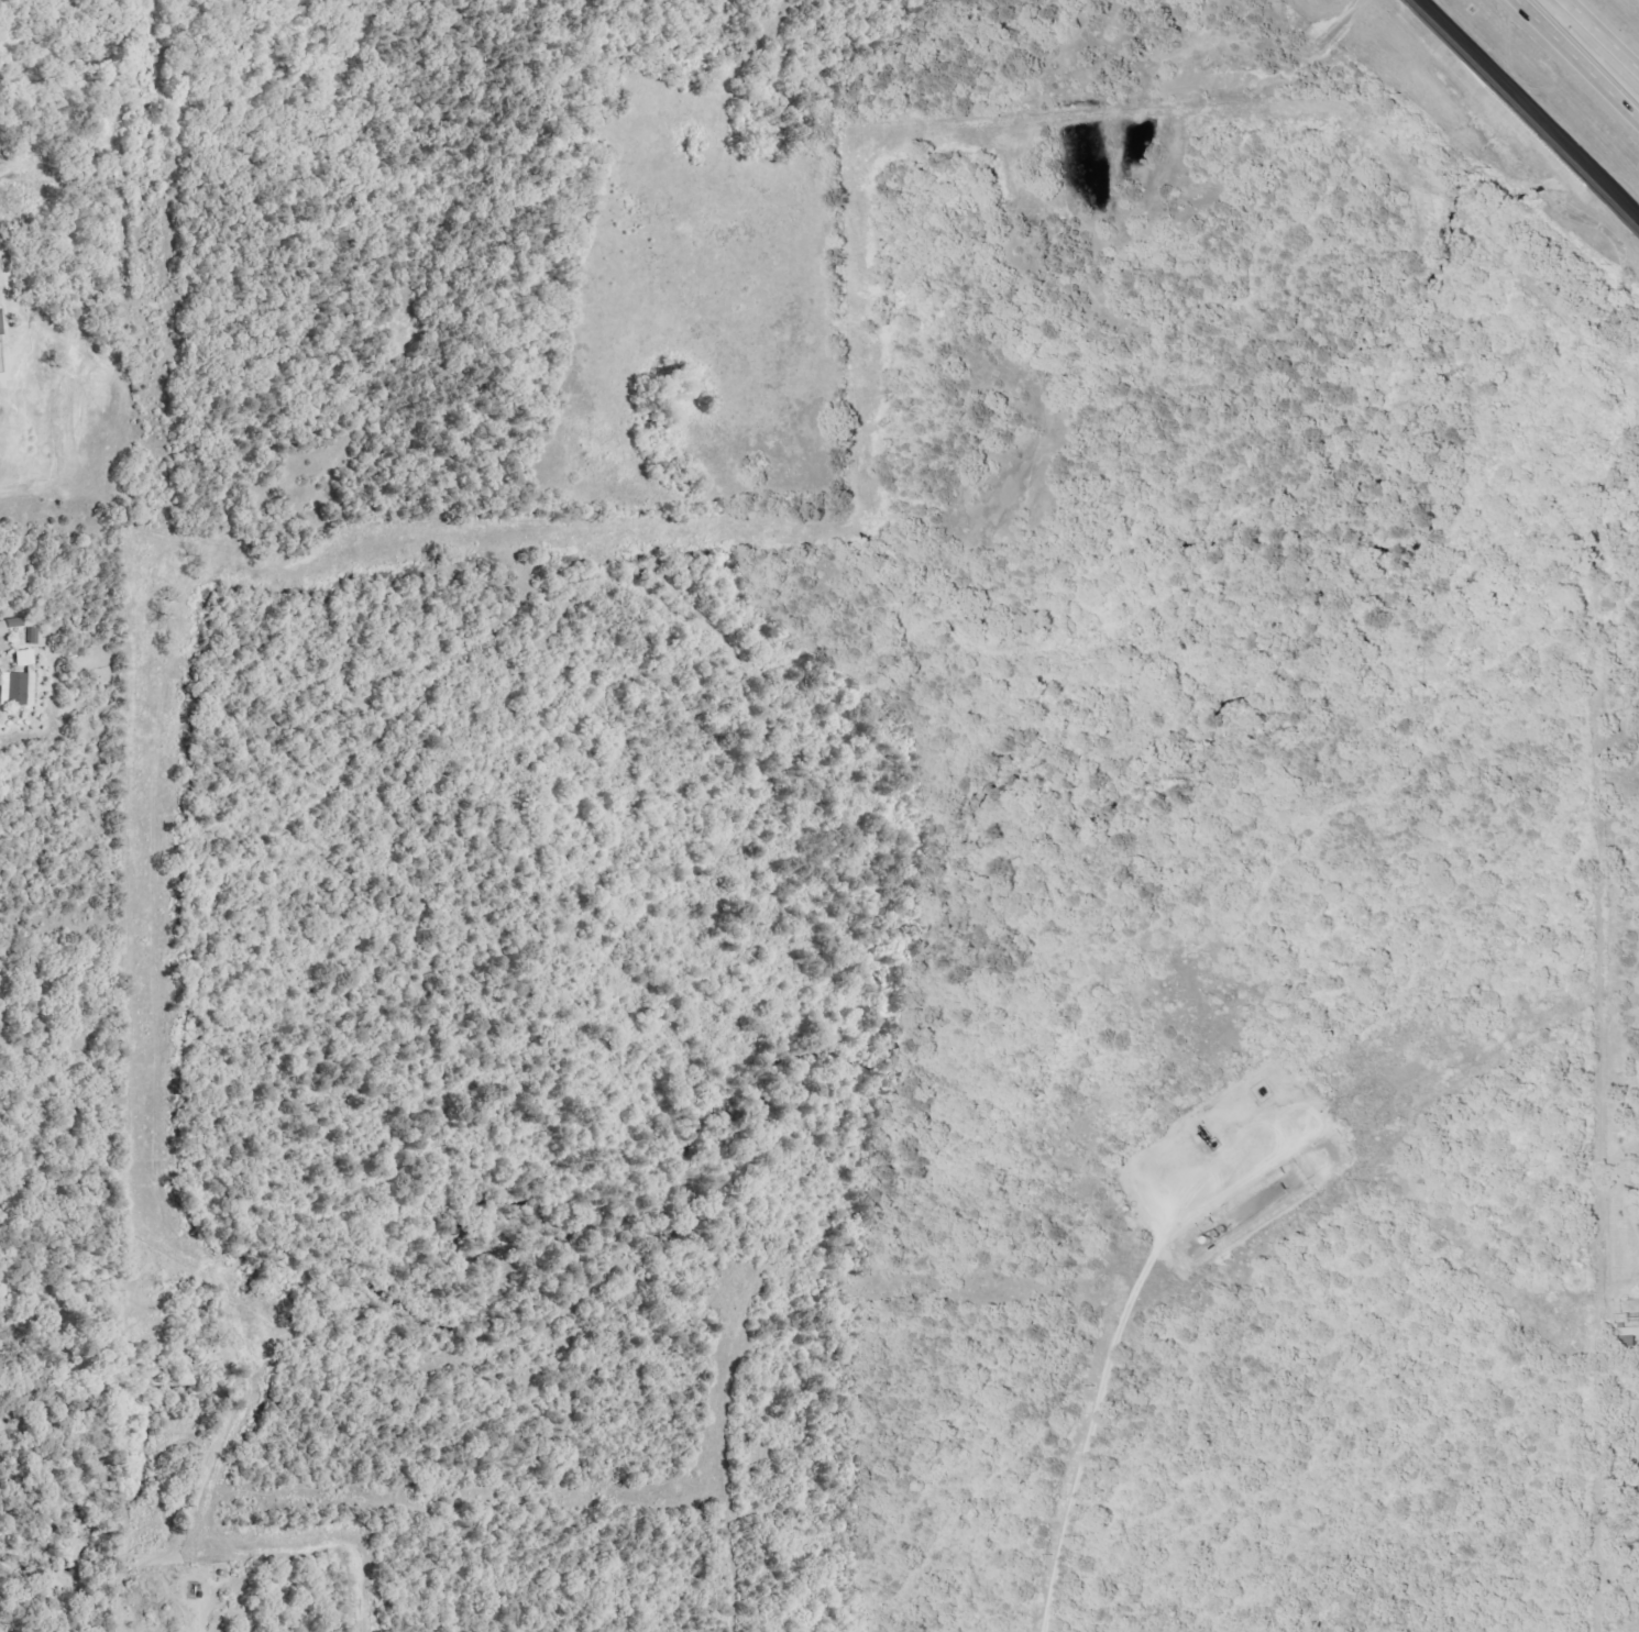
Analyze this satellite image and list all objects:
road: (1601, 35)
road: (1576, 62)
road: (1529, 110)
road: (42, 619)
building: (30, 637)
building: (16, 682)

